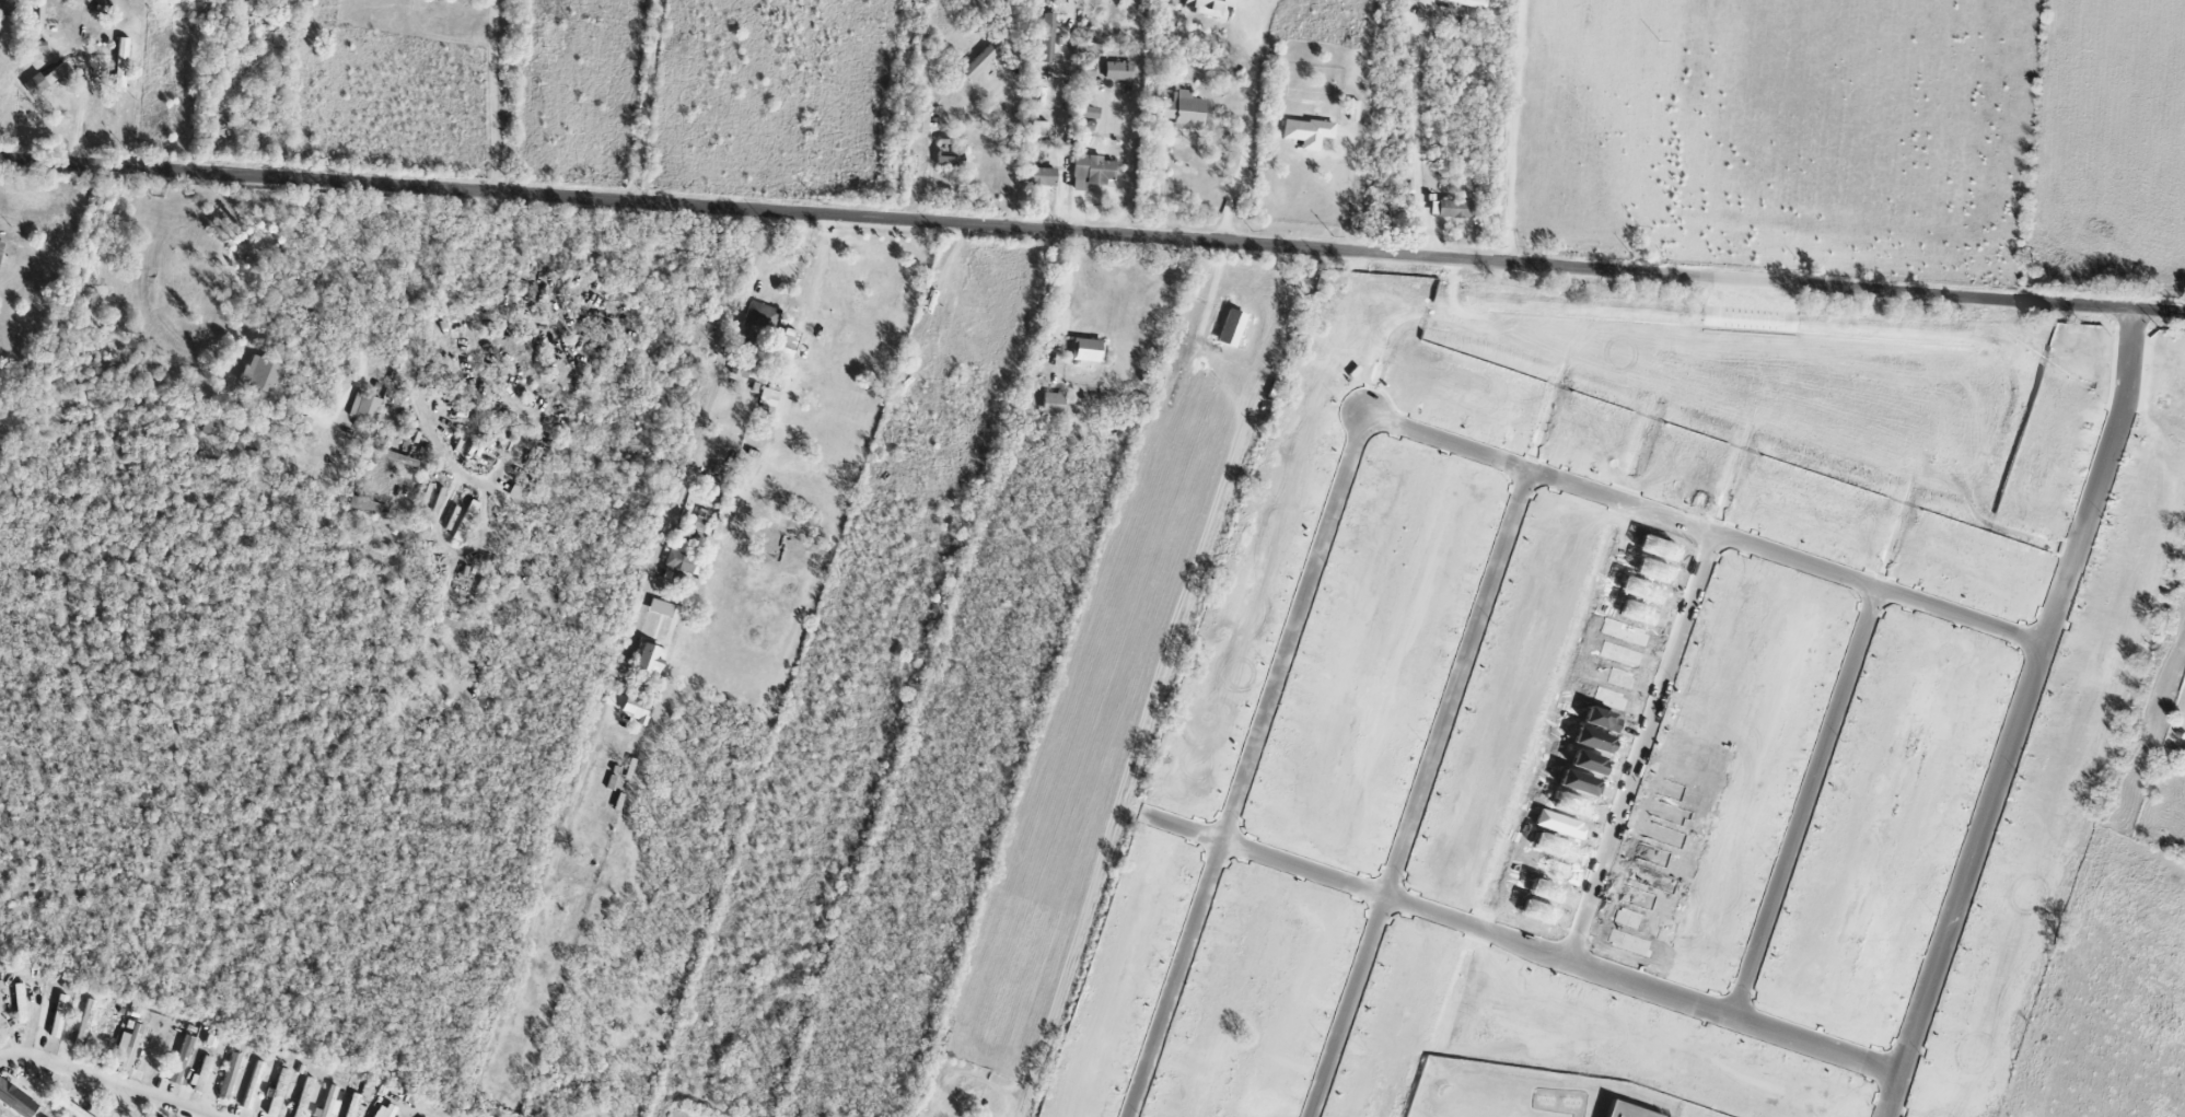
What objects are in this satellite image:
building: (1463, 2)
building: (1207, 7)
building: (1047, 38)
building: (980, 59)
building: (121, 62)
building: (1117, 71)
building: (45, 80)
building: (1085, 83)
road: (492, 95)
road: (647, 101)
building: (1183, 110)
building: (1086, 113)
road: (80, 115)
road: (1251, 120)
building: (920, 124)
road: (969, 124)
building: (1038, 129)
road: (1416, 129)
road: (1515, 131)
building: (1307, 132)
road: (1062, 138)
building: (1090, 172)
building: (1042, 177)
road: (1162, 184)
road: (1346, 194)
building: (1453, 209)
road: (1092, 234)
building: (0, 247)
road: (1066, 287)
building: (787, 339)
building: (1086, 352)
building: (739, 371)
building: (265, 379)
building: (1053, 405)
building: (364, 407)
building: (214, 422)
road: (1367, 432)
road: (437, 440)
building: (400, 459)
building: (364, 505)
road: (662, 545)
building: (685, 555)
building: (664, 610)
building: (648, 662)
road: (1167, 683)
building: (635, 709)
road: (2023, 717)
road: (1646, 748)
road: (1426, 793)
road: (1810, 805)
road: (1522, 945)
building: (58, 1016)
building: (85, 1023)
building: (108, 1031)
building: (129, 1043)
road: (5, 1059)
building: (181, 1059)
building: (200, 1074)
building: (229, 1075)
road: (112, 1083)
building: (253, 1085)
building: (277, 1092)
building: (303, 1097)
building: (16, 1101)
road: (126, 1103)
building: (327, 1103)
building: (352, 1105)
building: (383, 1110)
building: (1626, 1110)
building: (149, 1116)

